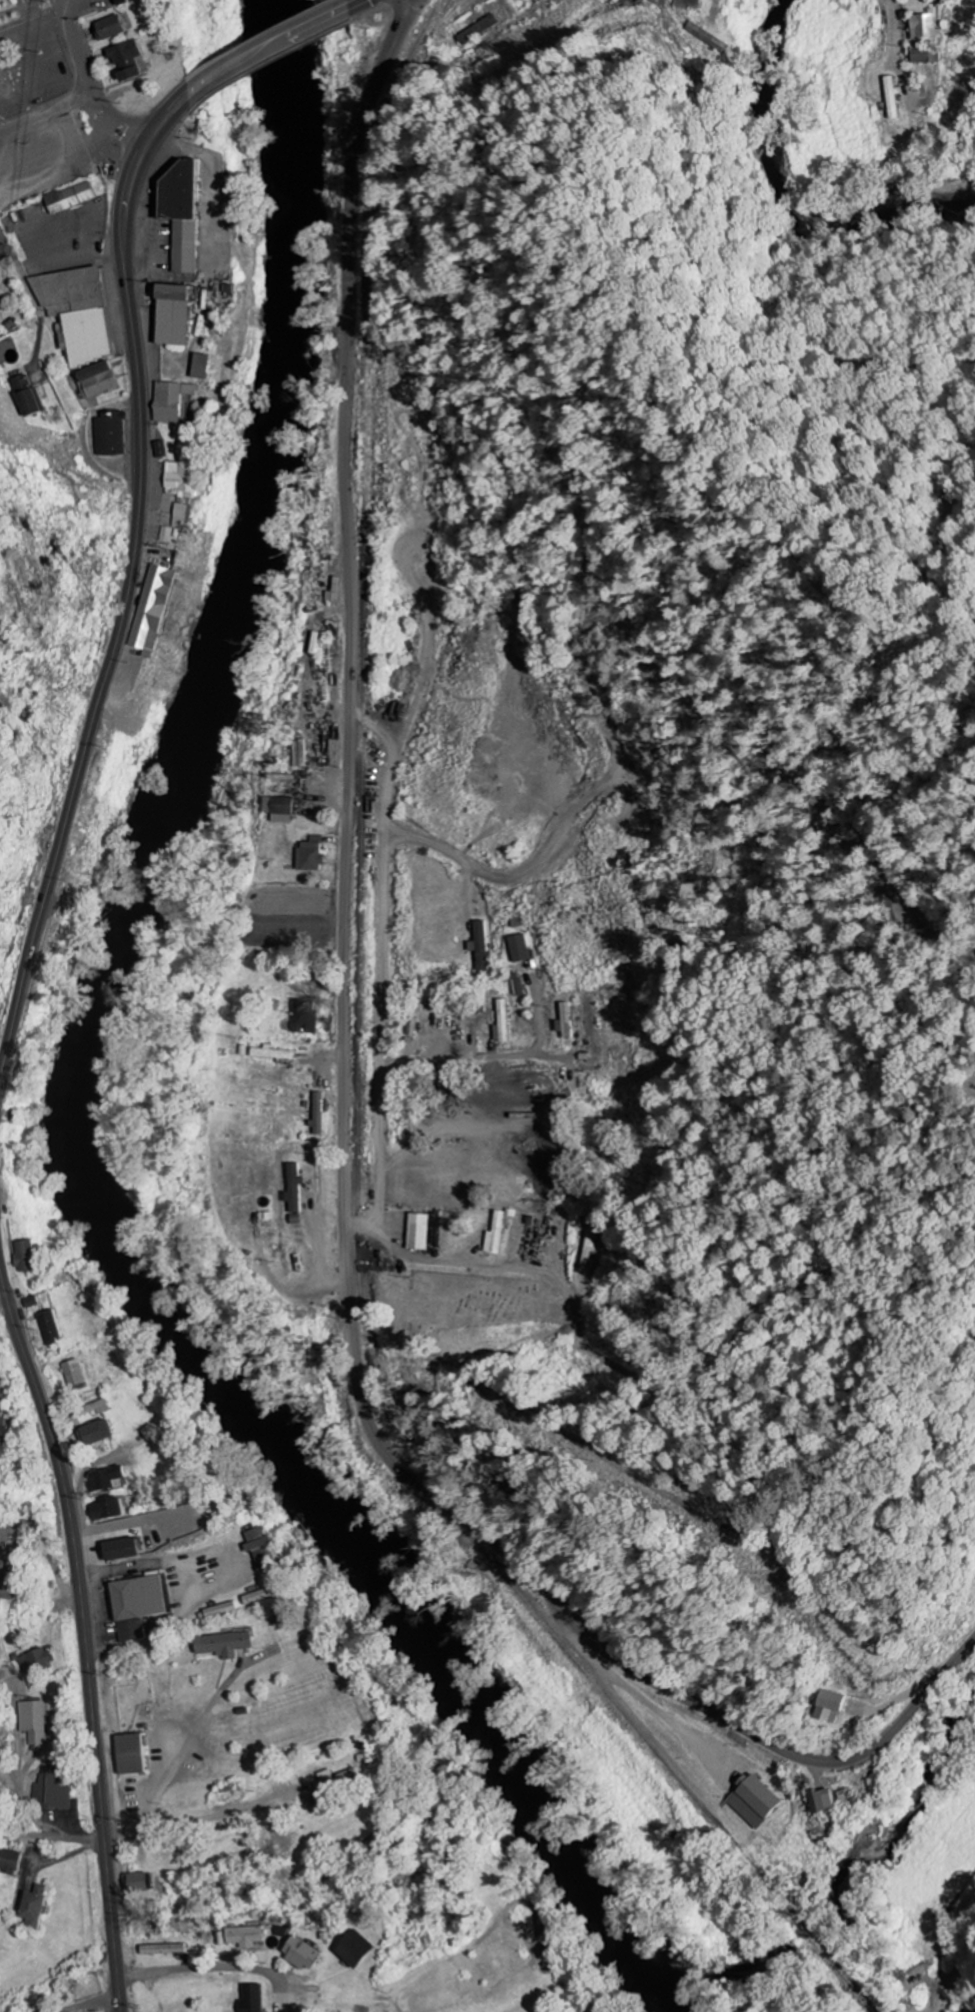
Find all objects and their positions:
road: (356, 1)
building: (686, 1)
building: (108, 28)
building: (925, 28)
building: (479, 32)
road: (277, 43)
road: (897, 55)
building: (927, 56)
building: (124, 60)
building: (892, 99)
road: (45, 112)
road: (120, 125)
river: (796, 175)
building: (69, 198)
building: (180, 211)
road: (12, 254)
road: (58, 275)
building: (77, 314)
building: (171, 316)
building: (200, 367)
building: (97, 380)
building: (26, 397)
building: (170, 401)
building: (110, 434)
building: (160, 449)
building: (180, 479)
building: (181, 515)
building: (170, 534)
road: (129, 575)
building: (152, 609)
building: (279, 809)
building: (309, 855)
building: (481, 946)
building: (519, 949)
building: (517, 985)
building: (302, 1016)
building: (565, 1020)
building: (502, 1022)
building: (274, 1055)
railway: (357, 1087)
river: (84, 1090)
road: (345, 1093)
building: (319, 1113)
building: (293, 1189)
building: (417, 1232)
building: (495, 1235)
building: (590, 1250)
road: (405, 1253)
building: (25, 1256)
building: (32, 1302)
building: (50, 1328)
building: (74, 1374)
building: (3, 1430)
building: (96, 1433)
building: (105, 1480)
building: (105, 1510)
building: (257, 1546)
building: (119, 1550)
road: (185, 1567)
building: (5, 1581)
building: (135, 1605)
building: (220, 1610)
road: (84, 1638)
building: (222, 1644)
building: (35, 1661)
building: (829, 1707)
building: (35, 1722)
building: (129, 1755)
road: (167, 1774)
building: (334, 1779)
building: (53, 1790)
building: (753, 1801)
building: (821, 1801)
road: (25, 1833)
building: (10, 1861)
building: (139, 1883)
building: (32, 1906)
building: (245, 1937)
building: (354, 1949)
building: (161, 1950)
building: (300, 1954)
road: (195, 1971)
road: (954, 1981)
building: (250, 1998)
road: (88, 2003)

